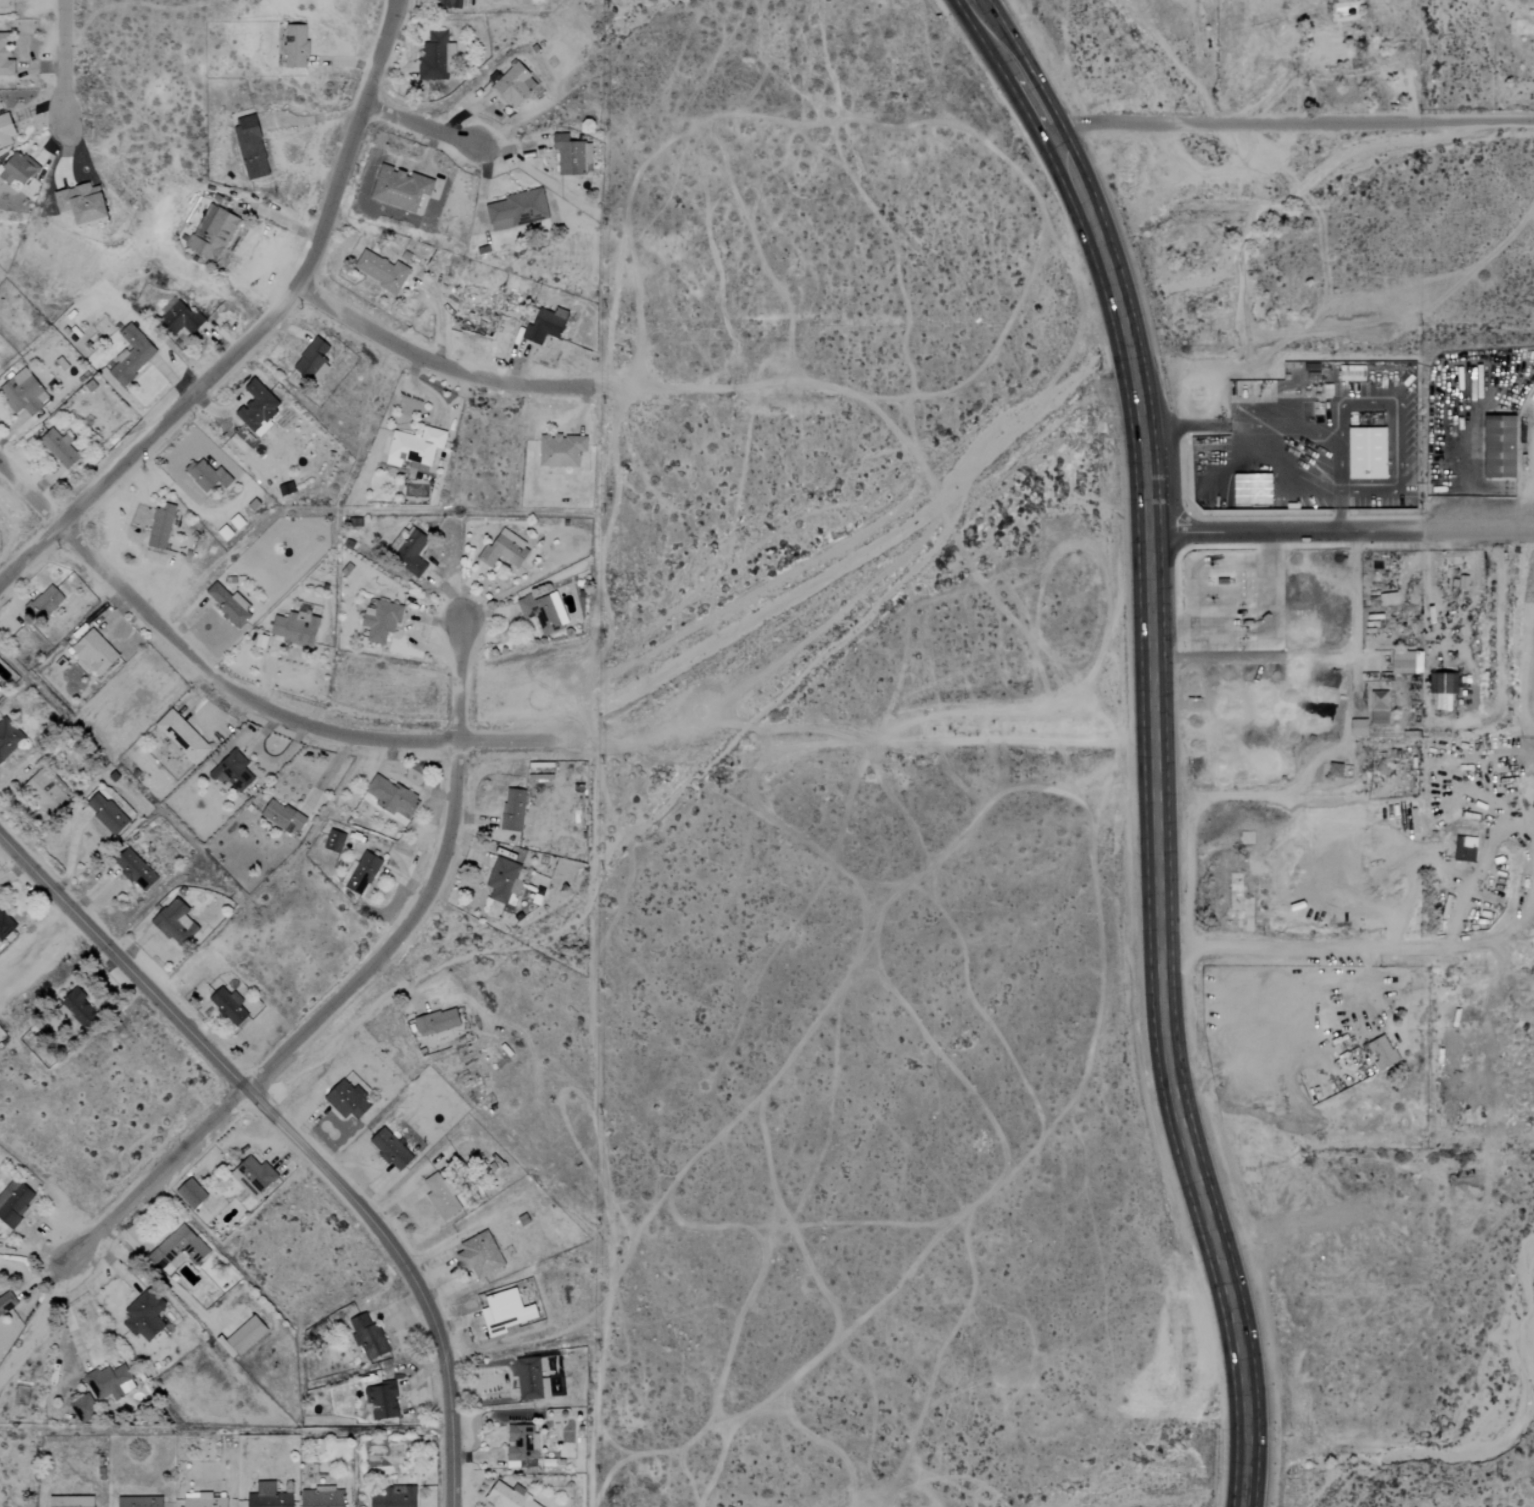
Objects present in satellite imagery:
building: (7, 3)
building: (450, 3)
building: (296, 46)
building: (1328, 51)
building: (6, 56)
building: (437, 56)
road: (63, 60)
building: (515, 86)
road: (1289, 119)
road: (420, 126)
building: (6, 130)
road: (348, 145)
building: (252, 148)
building: (573, 156)
building: (18, 170)
building: (401, 189)
building: (83, 203)
building: (518, 210)
building: (213, 233)
building: (381, 272)
building: (184, 318)
building: (546, 326)
building: (131, 356)
building: (314, 360)
road: (430, 361)
building: (24, 394)
road: (1394, 406)
building: (259, 408)
road: (146, 431)
building: (417, 446)
road: (1251, 447)
building: (59, 448)
building: (1503, 448)
building: (562, 451)
road: (1140, 451)
building: (1369, 454)
road: (1464, 468)
building: (208, 476)
building: (287, 489)
building: (1253, 489)
road: (1337, 510)
building: (162, 526)
road: (1477, 527)
road: (1282, 529)
building: (505, 551)
building: (413, 553)
building: (1221, 582)
building: (1464, 582)
gas station: (1230, 601)
building: (45, 603)
building: (230, 606)
building: (544, 613)
building: (382, 621)
road: (1255, 624)
building: (297, 629)
building: (95, 653)
building: (1408, 663)
building: (1443, 690)
road: (245, 699)
building: (1381, 709)
building: (1361, 727)
building: (9, 737)
building: (182, 738)
road: (1342, 741)
building: (1337, 770)
building: (233, 771)
building: (46, 791)
building: (393, 797)
building: (514, 810)
building: (106, 813)
building: (283, 817)
building: (335, 840)
building: (135, 870)
building: (364, 873)
building: (505, 883)
building: (176, 923)
building: (5, 926)
road: (1345, 940)
road: (346, 987)
building: (229, 1006)
building: (81, 1008)
building: (438, 1022)
building: (1383, 1052)
building: (348, 1100)
road: (293, 1138)
building: (391, 1150)
building: (254, 1176)
building: (192, 1194)
building: (442, 1196)
building: (14, 1202)
road: (1208, 1223)
building: (181, 1248)
building: (482, 1255)
building: (6, 1303)
building: (506, 1312)
road: (66, 1316)
building: (145, 1316)
building: (243, 1337)
building: (369, 1337)
building: (532, 1380)
building: (110, 1382)
building: (383, 1401)
building: (85, 1408)
building: (522, 1445)
building: (269, 1496)
building: (394, 1497)
building: (324, 1498)
building: (511, 1498)
building: (203, 1500)
building: (72, 1501)
building: (141, 1502)

